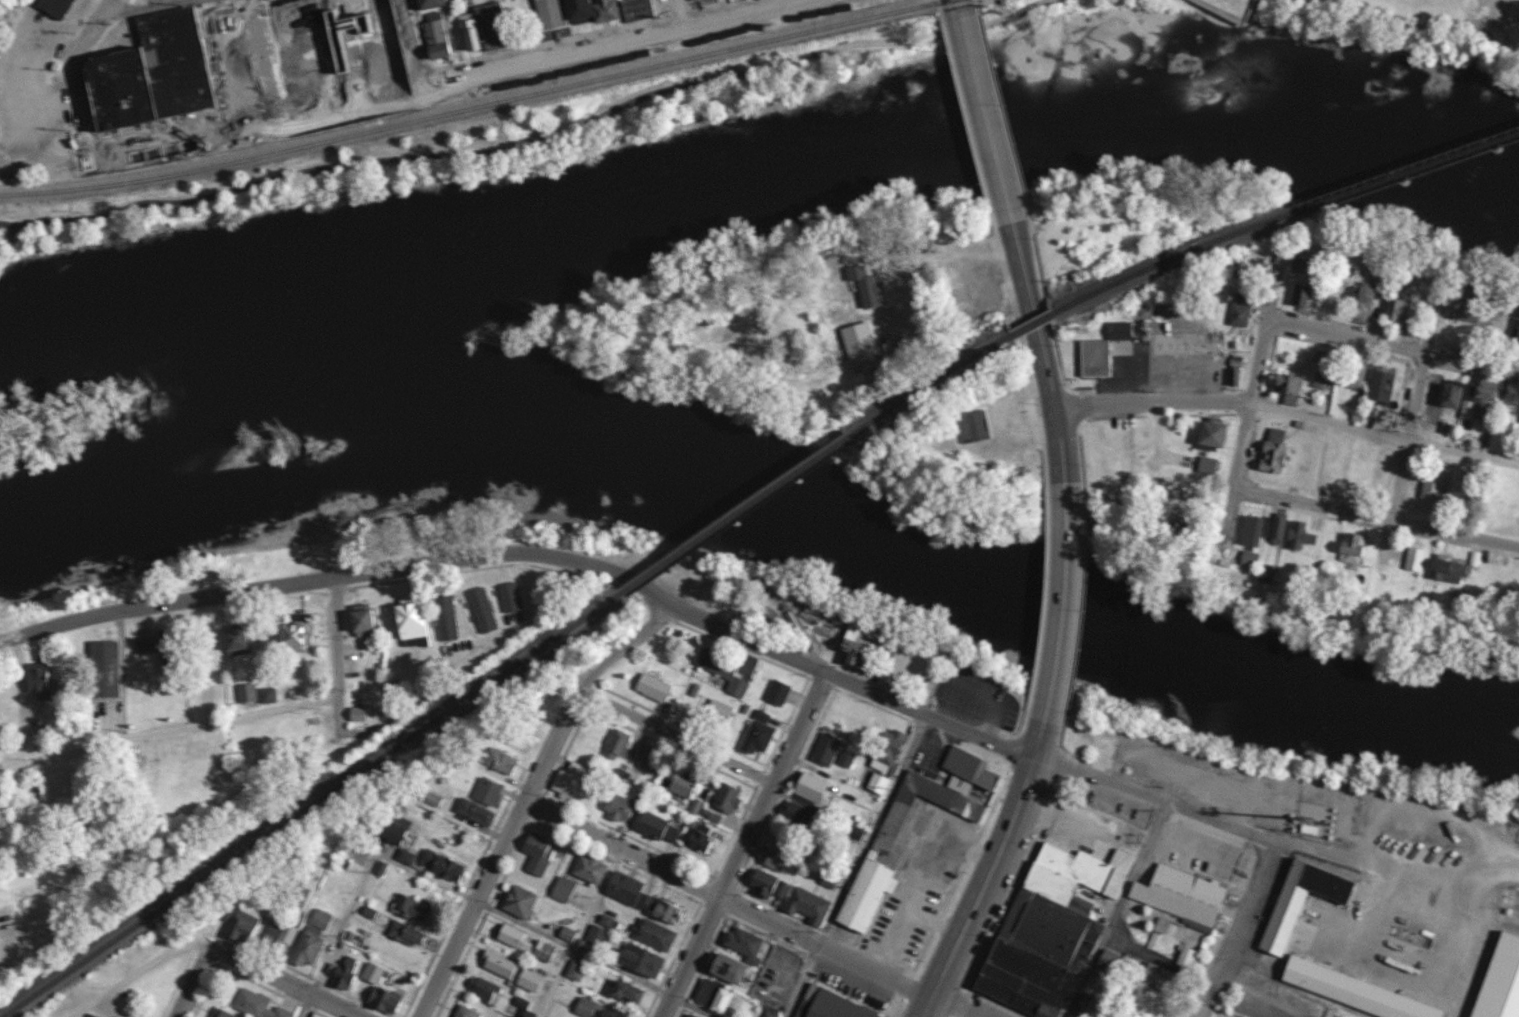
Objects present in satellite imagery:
building: (709, 0)
building: (428, 3)
road: (200, 4)
building: (443, 5)
building: (54, 7)
building: (73, 7)
road: (966, 7)
building: (651, 9)
building: (594, 11)
building: (625, 13)
road: (686, 13)
road: (1432, 15)
building: (563, 16)
building: (446, 17)
road: (1241, 17)
building: (507, 28)
road: (1505, 29)
road: (92, 31)
building: (467, 32)
building: (435, 35)
building: (448, 35)
building: (486, 37)
road: (411, 43)
road: (1505, 46)
building: (454, 56)
building: (193, 74)
road: (460, 78)
railway: (484, 107)
park: (652, 108)
road: (79, 118)
road: (990, 120)
road: (552, 138)
railway: (1407, 173)
road: (16, 234)
road: (948, 252)
railway: (1173, 259)
building: (1297, 265)
building: (1311, 266)
building: (865, 286)
building: (1380, 289)
building: (1300, 295)
building: (1316, 298)
building: (1362, 303)
building: (1461, 307)
building: (1240, 311)
building: (1409, 312)
building: (1475, 314)
building: (1256, 316)
railway: (1034, 326)
building: (1516, 331)
building: (1129, 332)
road: (1406, 344)
road: (1041, 353)
road: (1268, 353)
building: (1103, 360)
building: (1373, 373)
building: (1356, 374)
building: (1233, 377)
building: (1322, 380)
building: (1288, 384)
railway: (935, 385)
building: (1381, 385)
building: (1399, 387)
building: (1304, 388)
building: (1451, 394)
building: (1469, 398)
road: (1156, 403)
building: (1500, 404)
building: (972, 427)
road: (1388, 431)
building: (1211, 435)
road: (1420, 437)
building: (1284, 452)
building: (1206, 466)
building: (1432, 486)
building: (1446, 491)
river: (769, 508)
road: (1341, 509)
railway: (739, 514)
building: (1250, 531)
building: (1277, 531)
building: (1299, 536)
building: (1351, 549)
road: (533, 558)
building: (1249, 558)
building: (1415, 559)
building: (1446, 569)
road: (1067, 604)
building: (298, 637)
building: (239, 643)
building: (146, 645)
building: (857, 654)
building: (173, 655)
building: (724, 671)
building: (654, 688)
building: (779, 693)
building: (247, 694)
building: (721, 710)
road: (218, 715)
road: (679, 735)
building: (760, 737)
building: (619, 743)
building: (827, 750)
building: (653, 758)
building: (847, 759)
building: (887, 759)
building: (500, 762)
road: (1100, 778)
building: (575, 781)
building: (686, 784)
building: (814, 788)
building: (489, 792)
building: (940, 793)
road: (527, 794)
building: (729, 798)
building: (434, 801)
railway: (311, 805)
building: (621, 808)
building: (476, 812)
building: (803, 817)
building: (659, 828)
building: (395, 834)
building: (702, 841)
road: (743, 844)
building: (540, 854)
building: (406, 857)
building: (777, 858)
building: (444, 866)
road: (857, 867)
building: (592, 869)
road: (992, 873)
building: (830, 880)
building: (768, 884)
road: (359, 885)
road: (1252, 885)
building: (564, 890)
building: (629, 890)
building: (1183, 896)
road: (727, 900)
building: (1304, 900)
road: (1114, 909)
building: (875, 910)
building: (1052, 929)
road: (580, 933)
road: (571, 950)
building: (1189, 958)
building: (1112, 961)
building: (517, 968)
road: (137, 971)
building: (744, 972)
building: (388, 975)
building: (1163, 979)
road: (286, 980)
road: (193, 982)
building: (1357, 992)
road: (694, 1007)
road: (952, 1007)
building: (222, 1012)
building: (90, 1015)
building: (835, 1015)
building: (1101, 1016)

